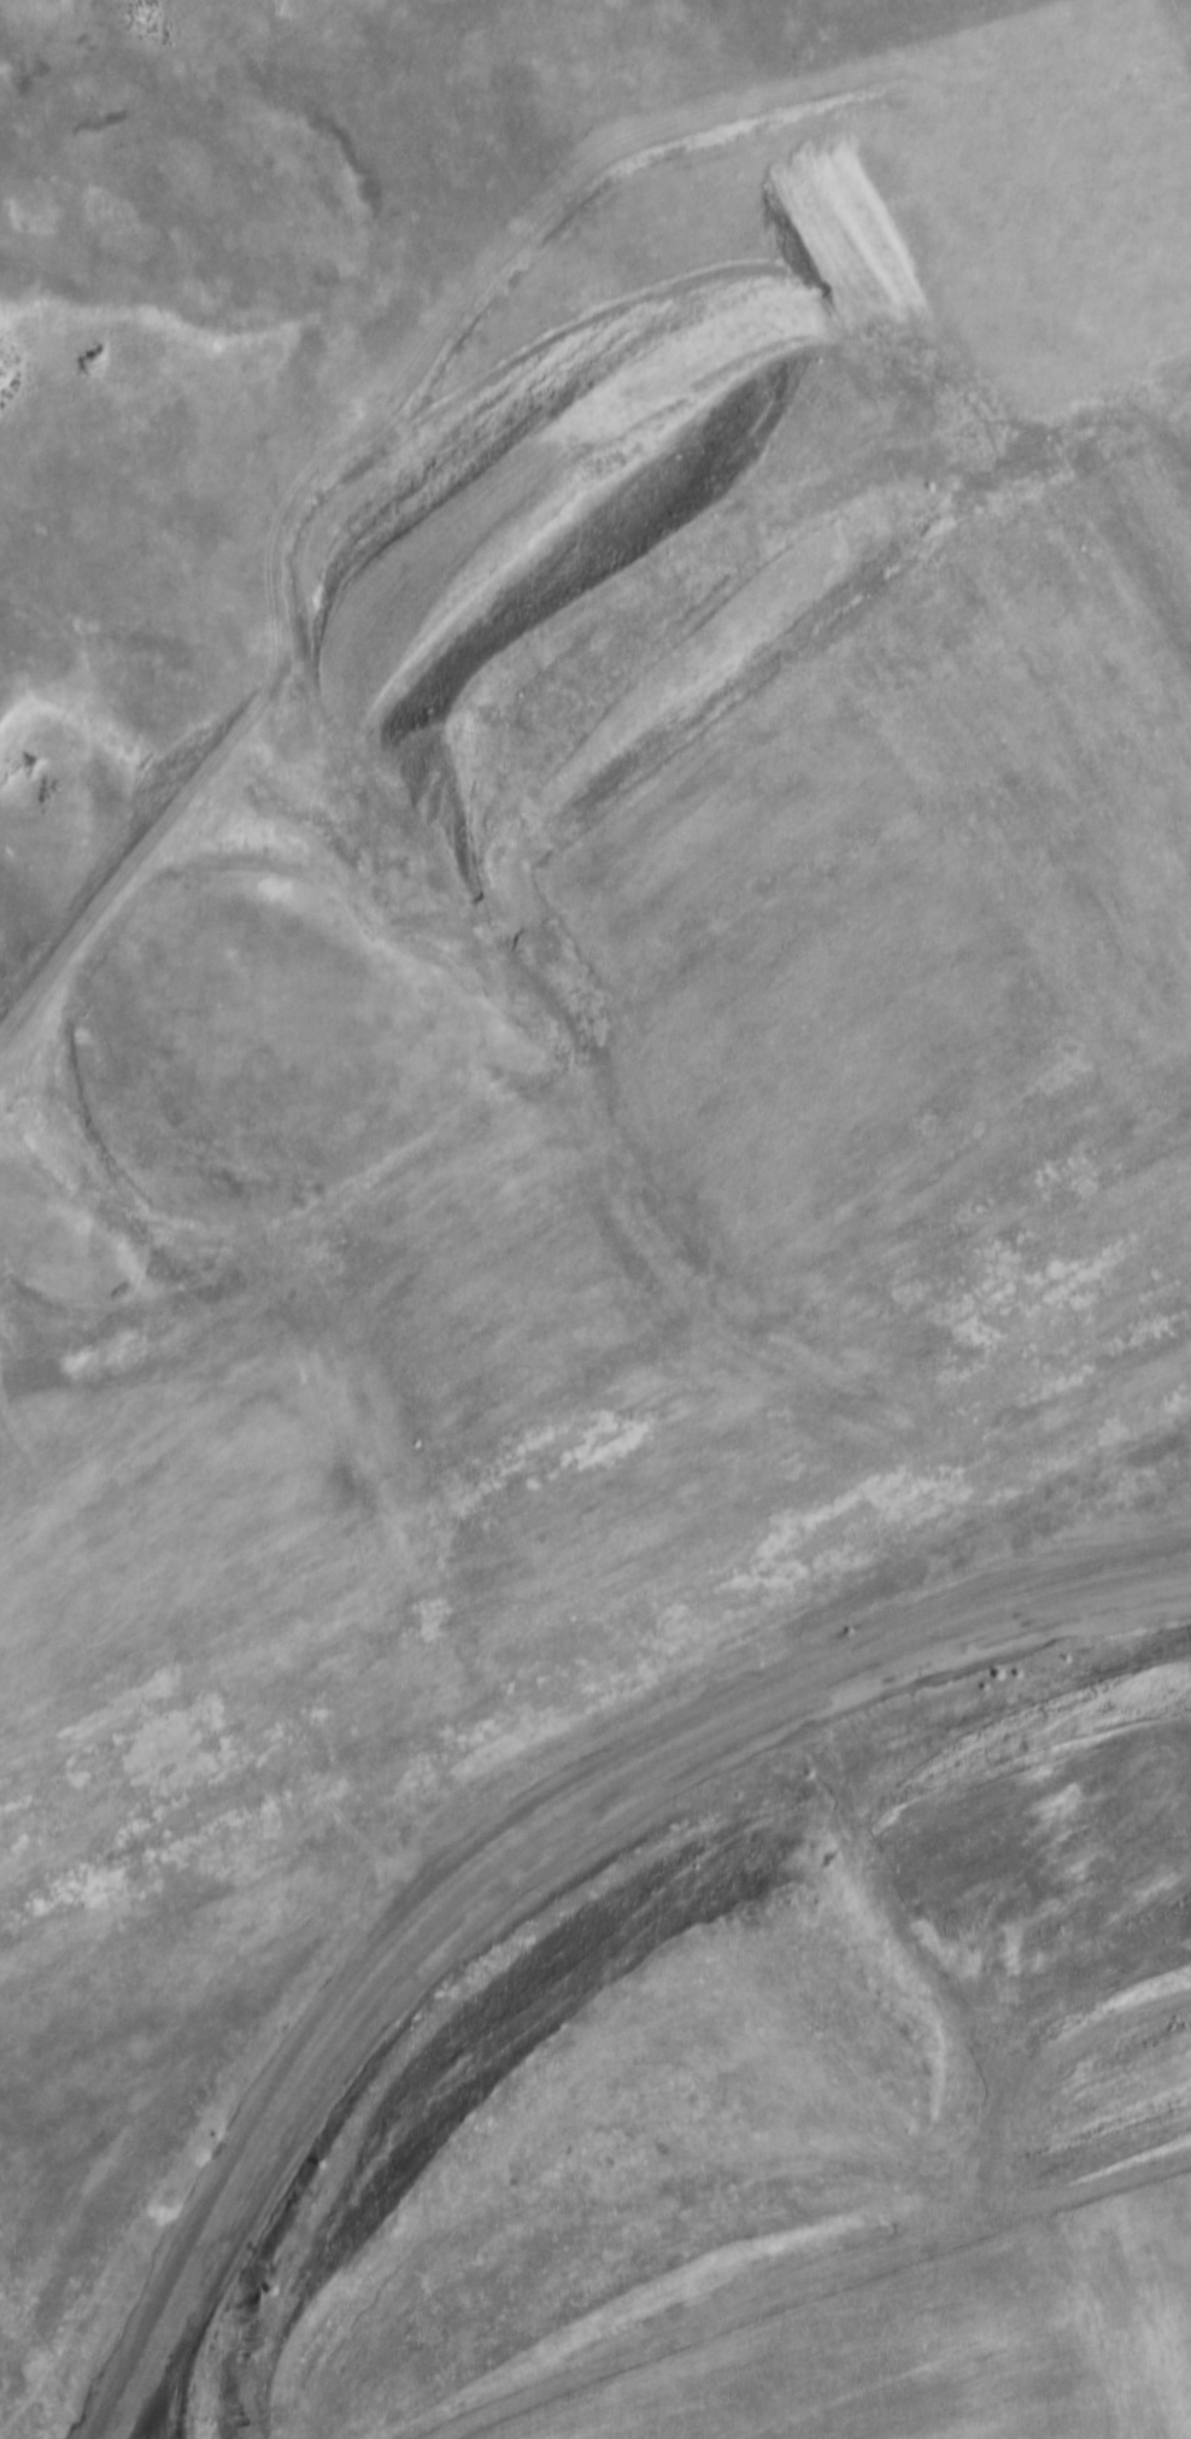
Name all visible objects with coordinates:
road: (779, 2206)

